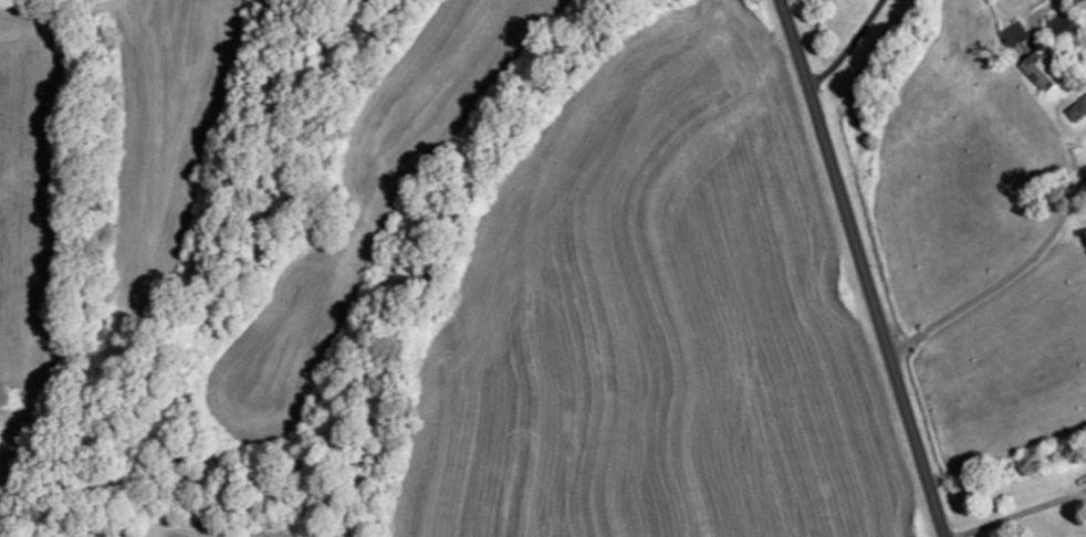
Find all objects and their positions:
building: (1066, 24)
building: (1015, 34)
road: (857, 49)
building: (1042, 72)
building: (1078, 109)
road: (863, 267)
road: (1001, 280)
road: (1020, 513)

